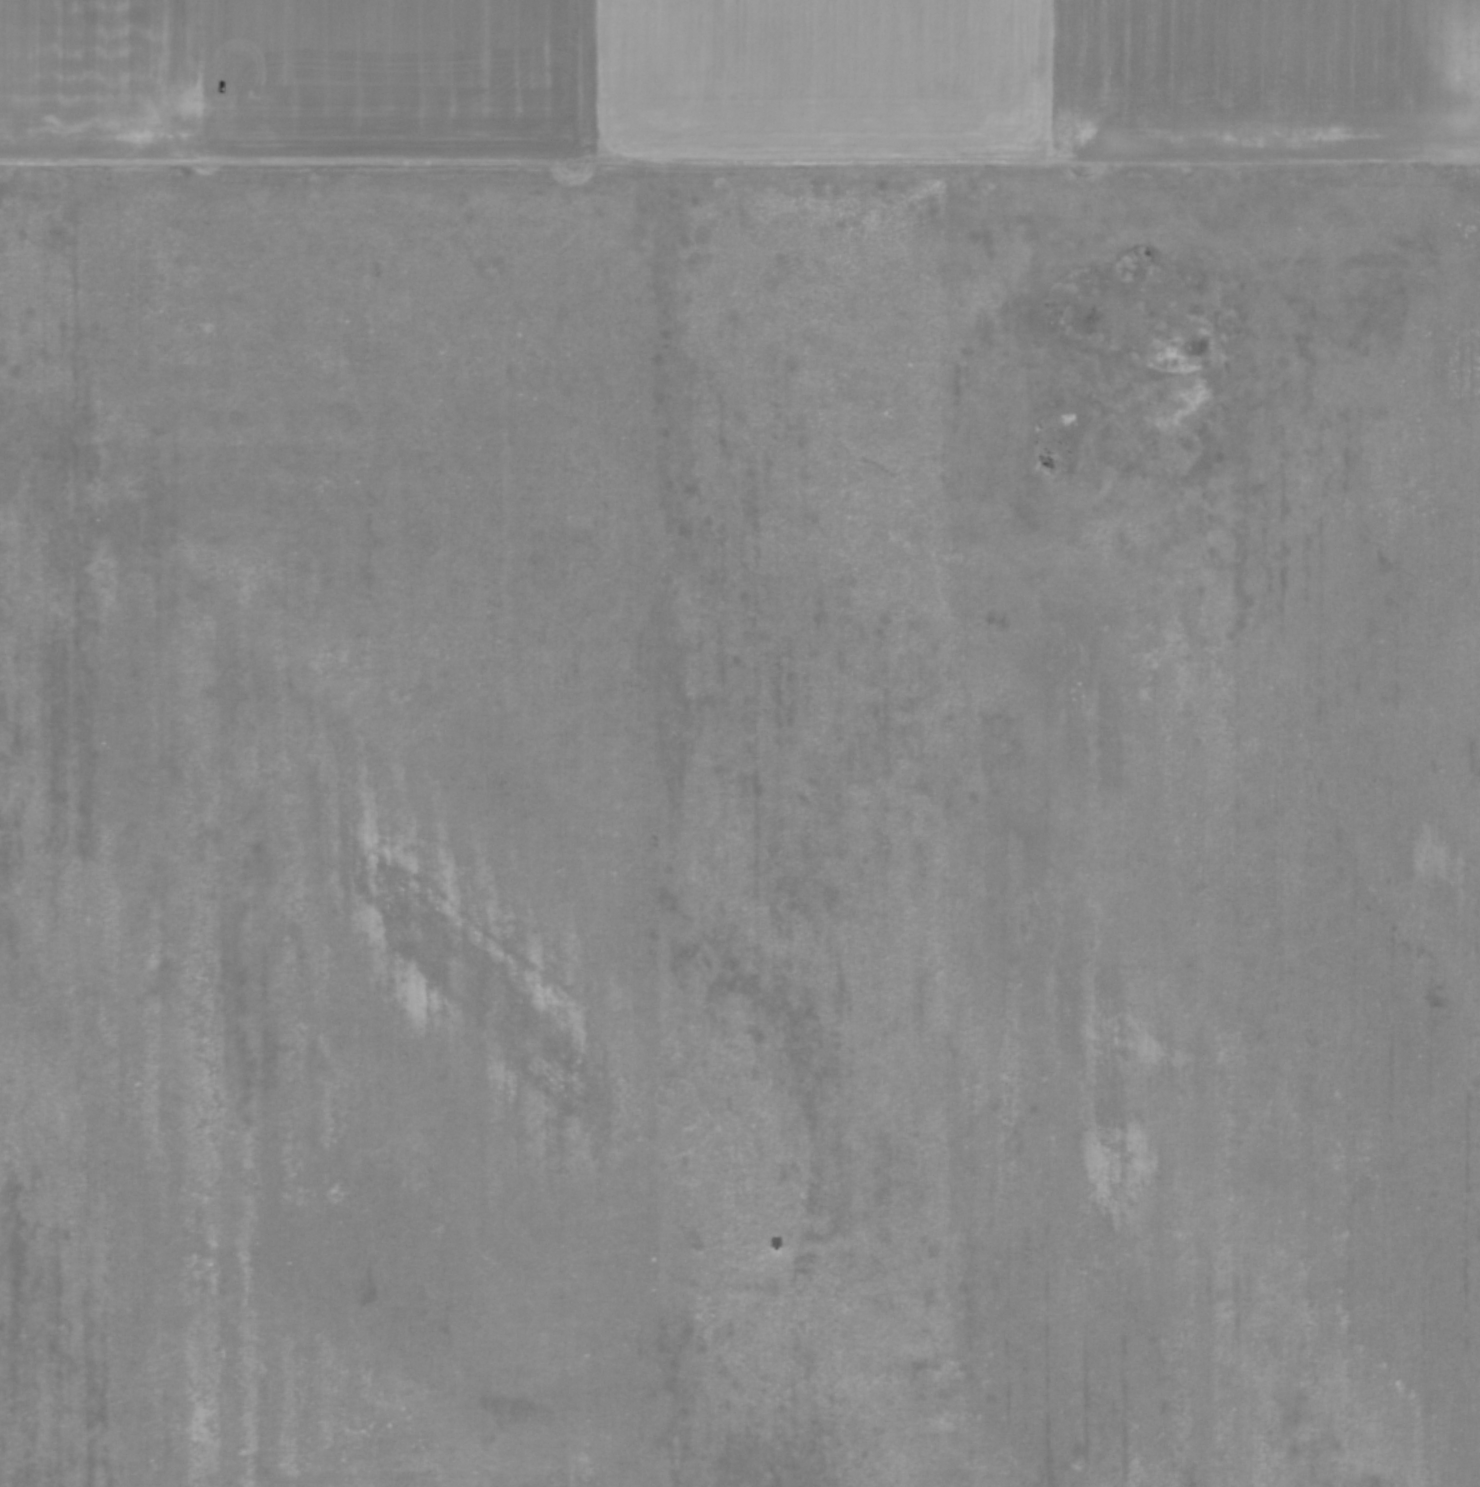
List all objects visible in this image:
road: (739, 156)
crop: (740, 743)

